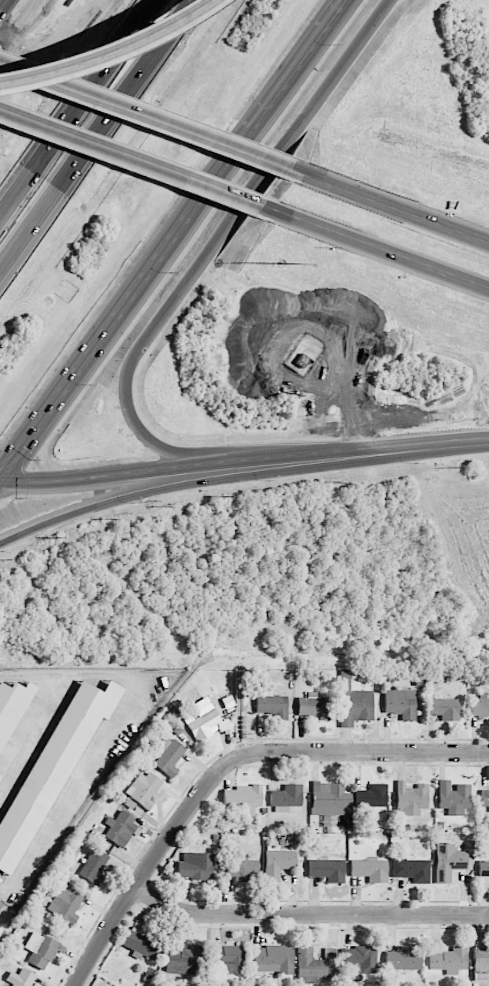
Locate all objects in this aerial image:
street lamp: (335, 46)
road: (100, 49)
road: (284, 85)
road: (76, 106)
road: (144, 116)
road: (97, 137)
road: (130, 157)
road: (389, 205)
road: (215, 245)
road: (375, 246)
street lamp: (282, 265)
street lamp: (171, 272)
road: (111, 325)
street lamp: (90, 384)
building: (394, 405)
road: (244, 460)
road: (240, 477)
road: (0, 478)
traffic signals: (1, 479)
building: (353, 700)
building: (400, 703)
building: (9, 705)
building: (480, 705)
building: (272, 706)
building: (314, 706)
building: (444, 708)
building: (202, 719)
road: (28, 727)
road: (106, 731)
road: (348, 749)
building: (168, 756)
building: (51, 768)
building: (142, 789)
building: (371, 796)
building: (453, 796)
building: (286, 798)
building: (484, 798)
building: (241, 799)
building: (410, 799)
building: (330, 801)
building: (119, 827)
building: (448, 861)
building: (277, 862)
building: (93, 865)
building: (194, 866)
building: (326, 869)
building: (412, 869)
building: (242, 870)
building: (369, 870)
building: (483, 874)
road: (140, 876)
building: (1, 899)
building: (65, 903)
road: (308, 912)
building: (140, 942)
building: (41, 950)
building: (447, 957)
building: (481, 957)
building: (361, 958)
building: (184, 959)
building: (229, 959)
building: (272, 959)
building: (403, 959)
building: (315, 965)
building: (20, 978)

